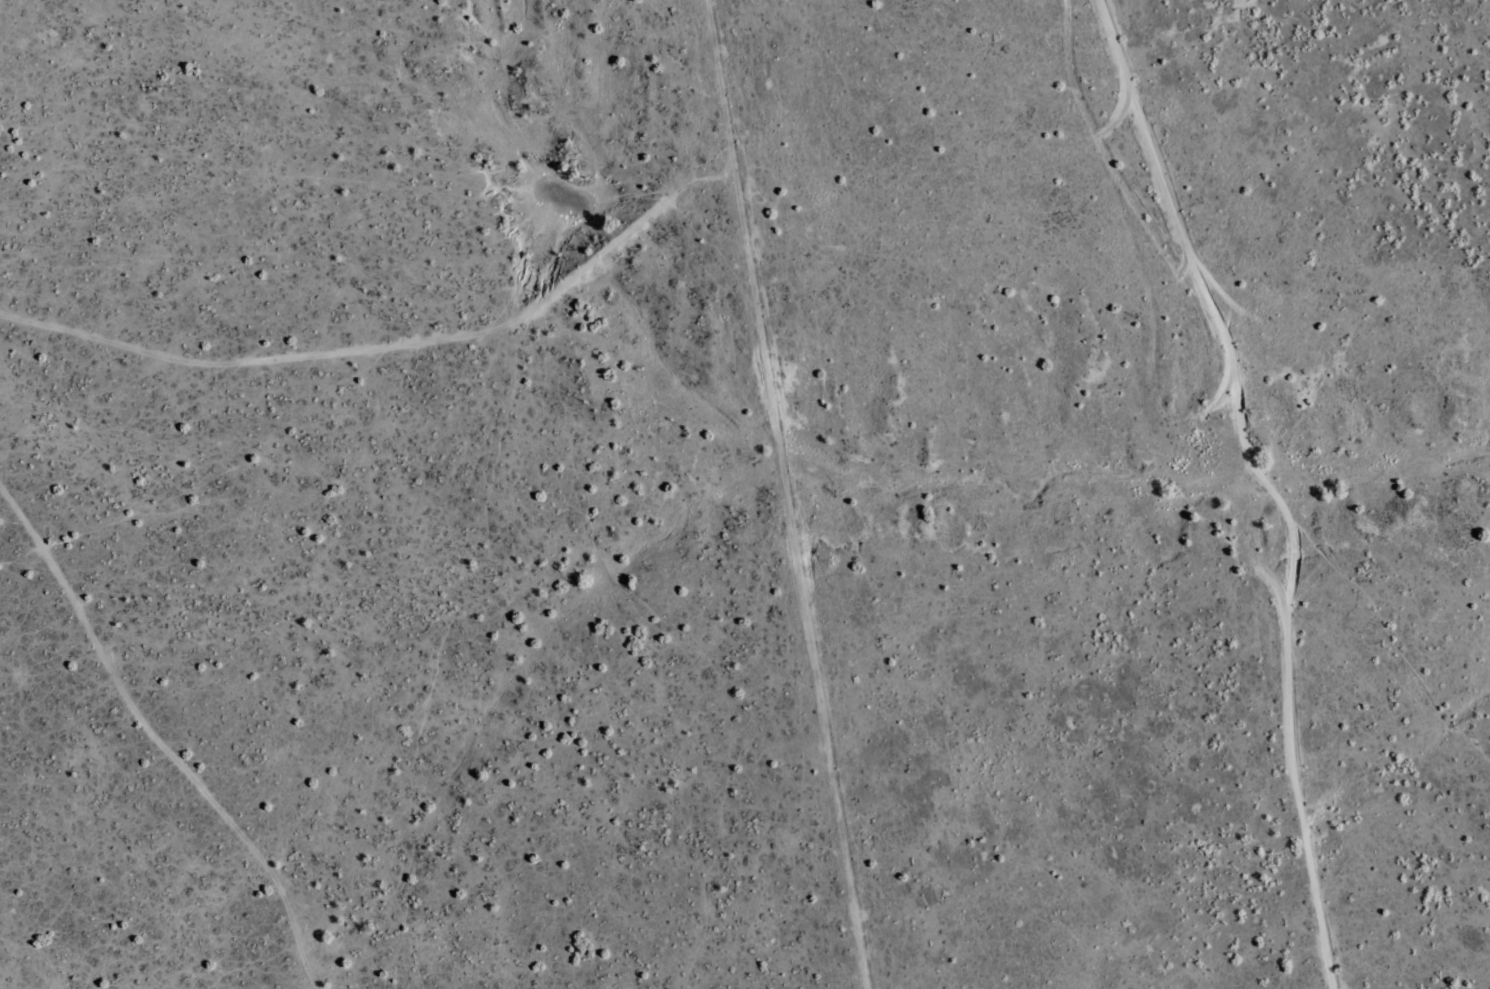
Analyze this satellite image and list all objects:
road: (40, 40)
road: (450, 326)
road: (163, 756)

